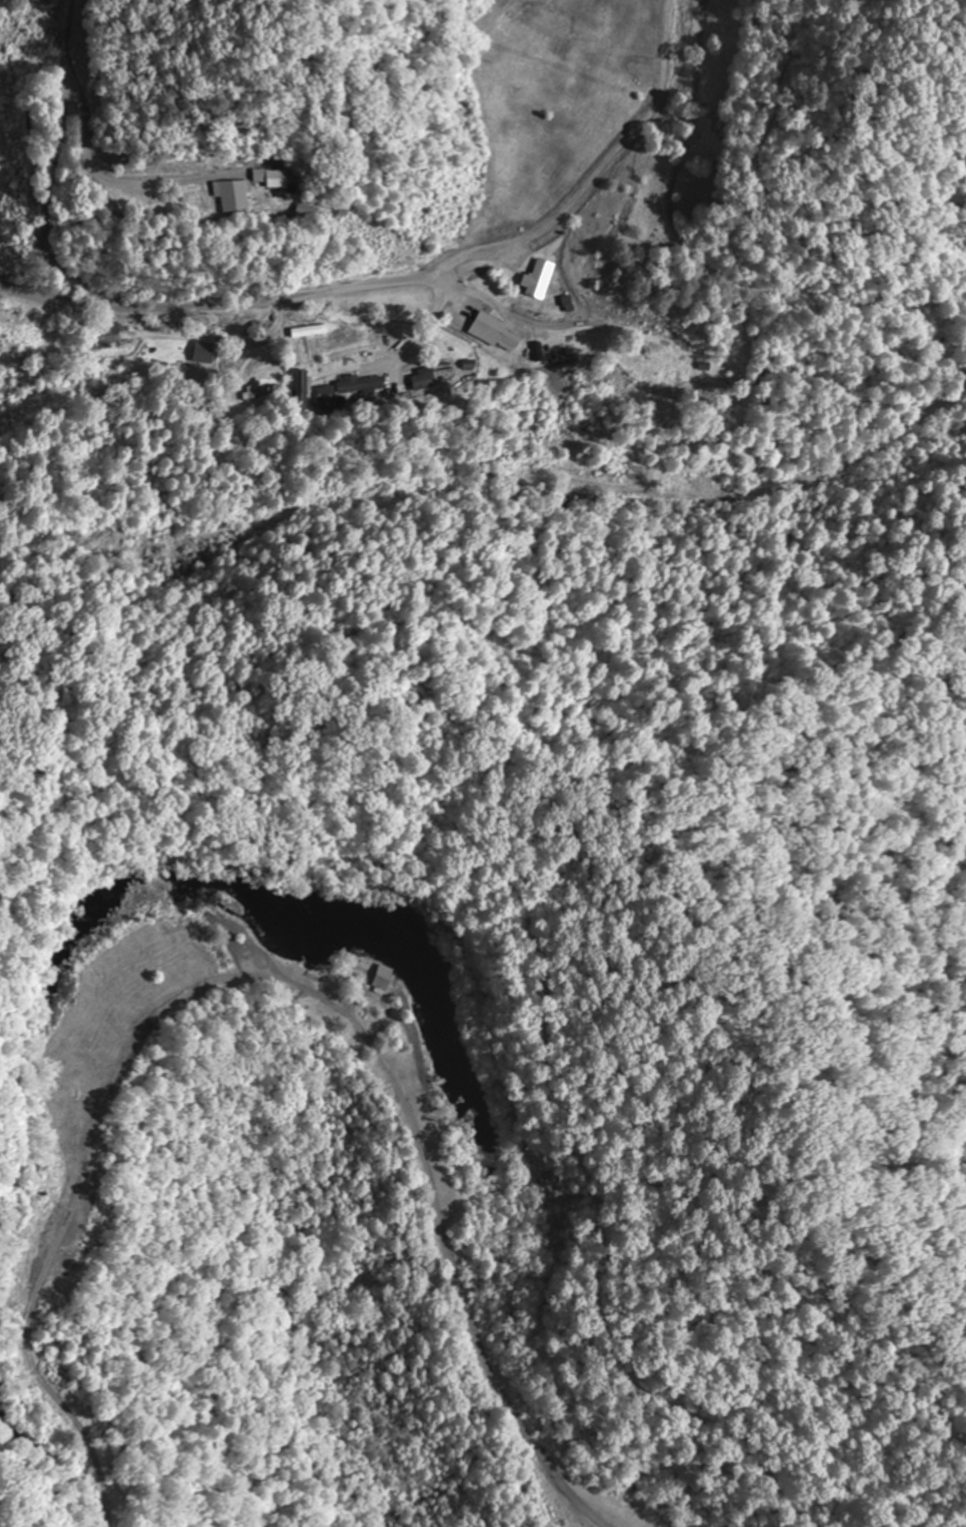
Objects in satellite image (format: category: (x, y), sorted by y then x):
building: (228, 193)
building: (299, 210)
building: (537, 278)
road: (229, 299)
building: (496, 332)
building: (101, 335)
building: (204, 352)
building: (352, 387)
building: (257, 392)
building: (329, 395)
building: (382, 977)

